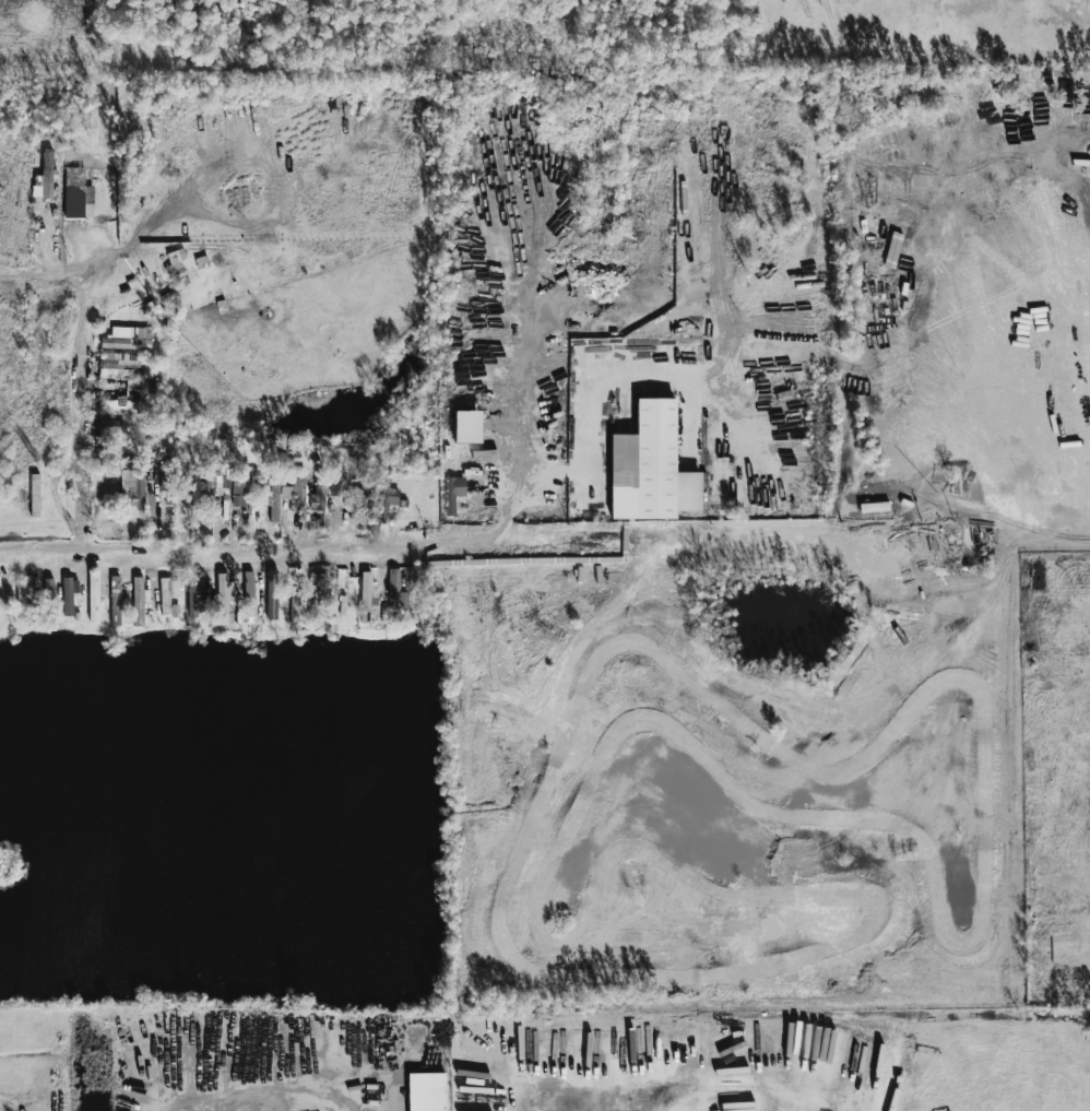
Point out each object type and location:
building: (45, 177)
building: (76, 192)
building: (129, 338)
road: (628, 375)
road: (87, 387)
road: (526, 397)
building: (467, 427)
building: (651, 468)
building: (133, 486)
building: (186, 488)
building: (240, 488)
building: (453, 493)
building: (273, 501)
building: (389, 504)
road: (251, 549)
building: (249, 581)
building: (170, 588)
building: (225, 589)
building: (319, 589)
building: (396, 592)
building: (368, 595)
building: (194, 600)
road: (235, 1077)
building: (426, 1091)
road: (296, 1109)

